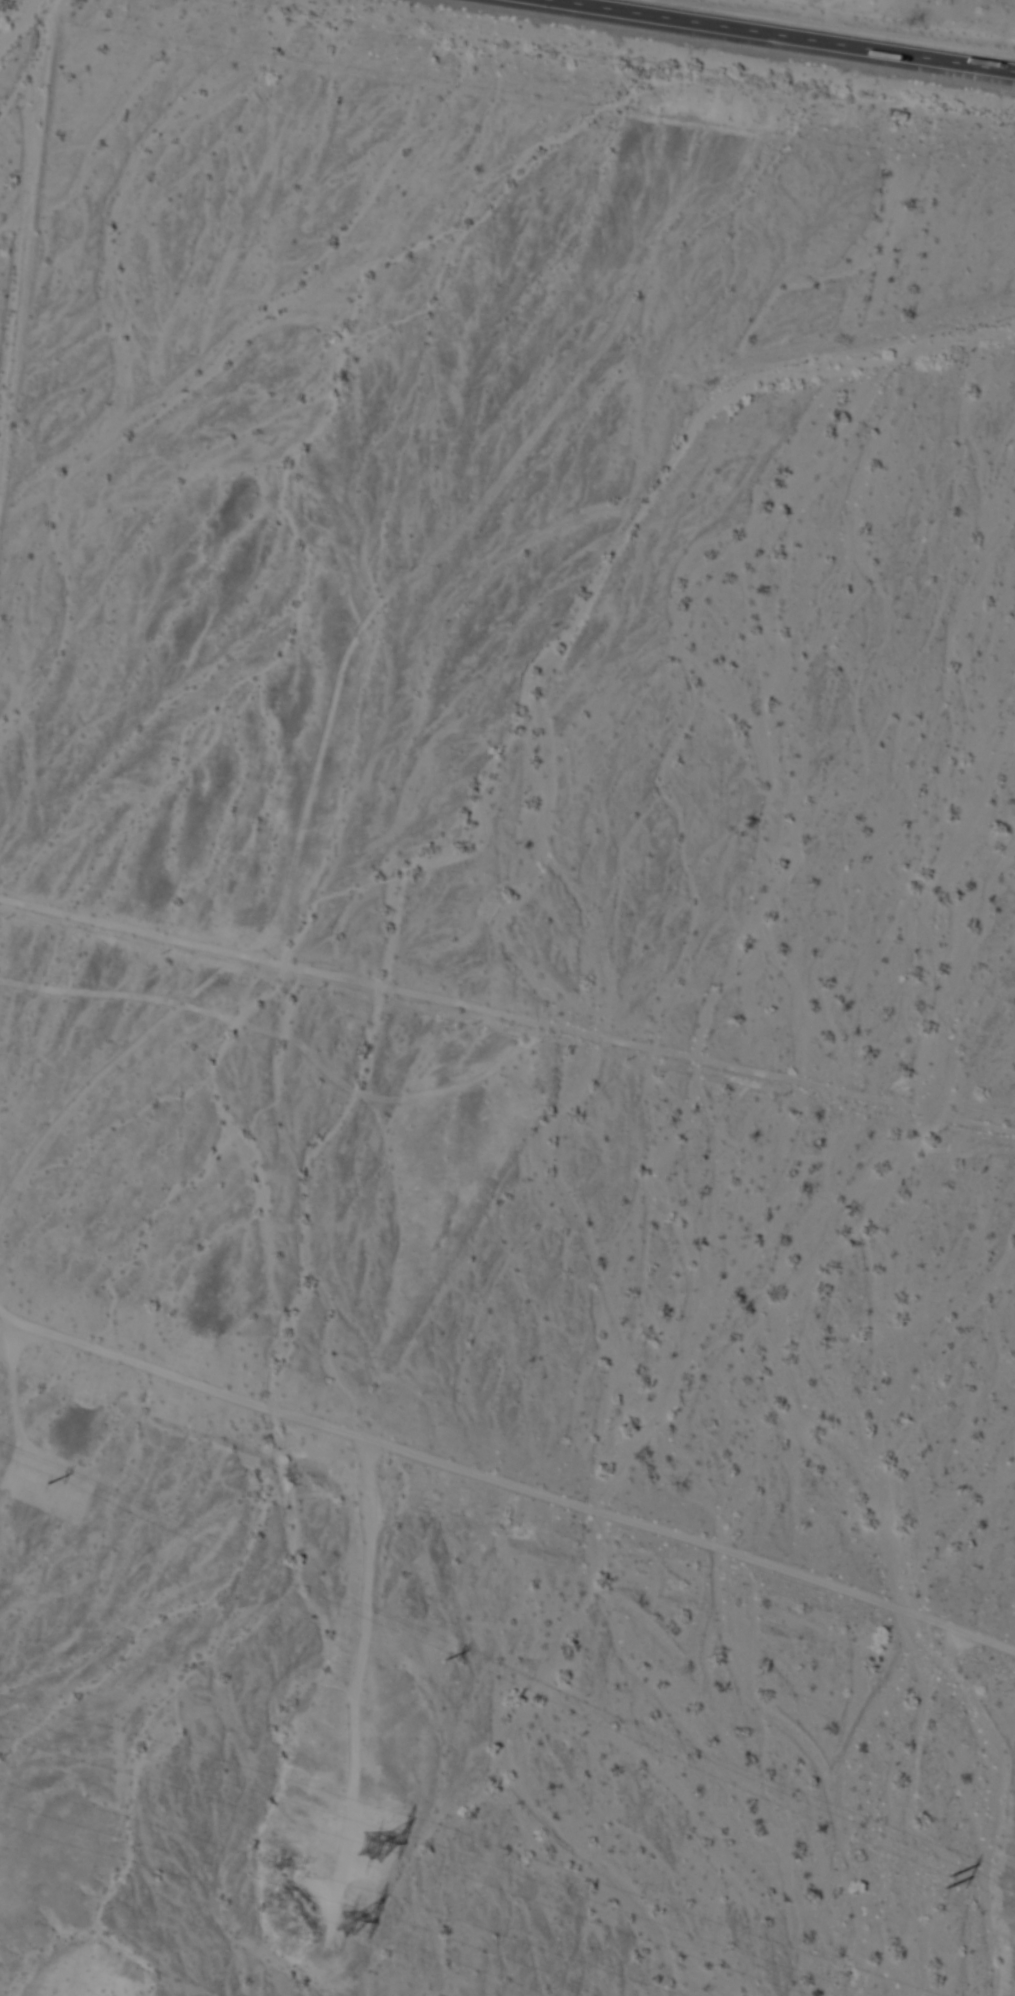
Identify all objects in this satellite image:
road: (771, 37)
road: (507, 1016)
road: (505, 1484)
power tower: (369, 1848)
power tower: (940, 1885)
power tower: (345, 1918)

